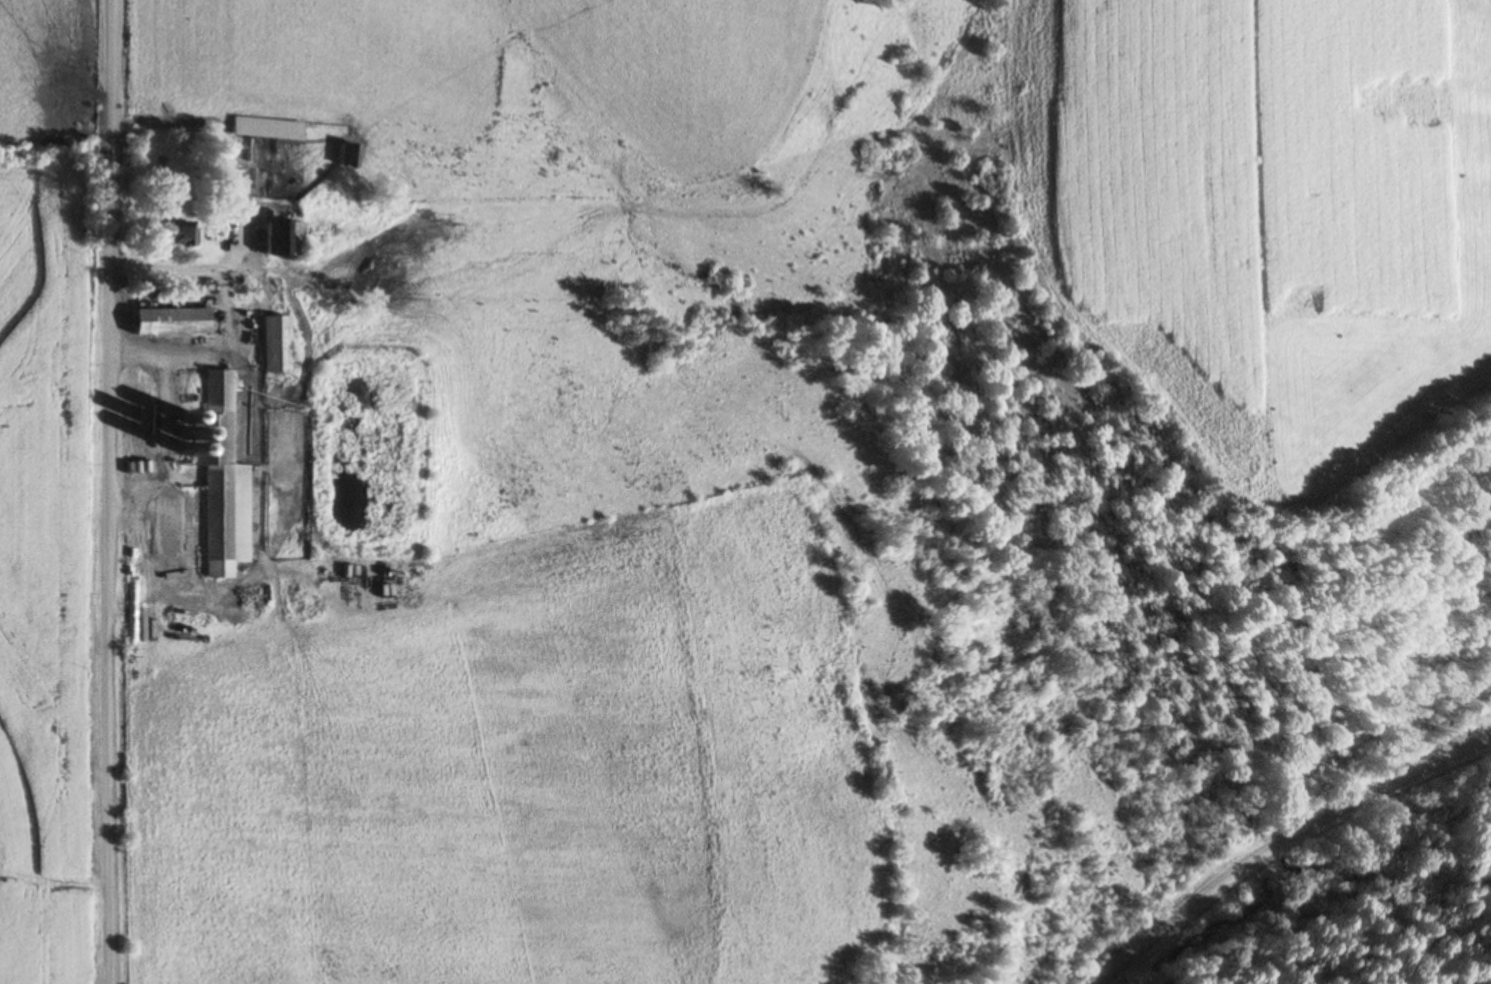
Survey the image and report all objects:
building: (257, 128)
building: (343, 157)
building: (180, 234)
building: (280, 239)
road: (163, 272)
building: (167, 322)
road: (222, 340)
building: (272, 345)
building: (219, 479)
road: (108, 491)
building: (207, 644)
road: (1282, 837)

